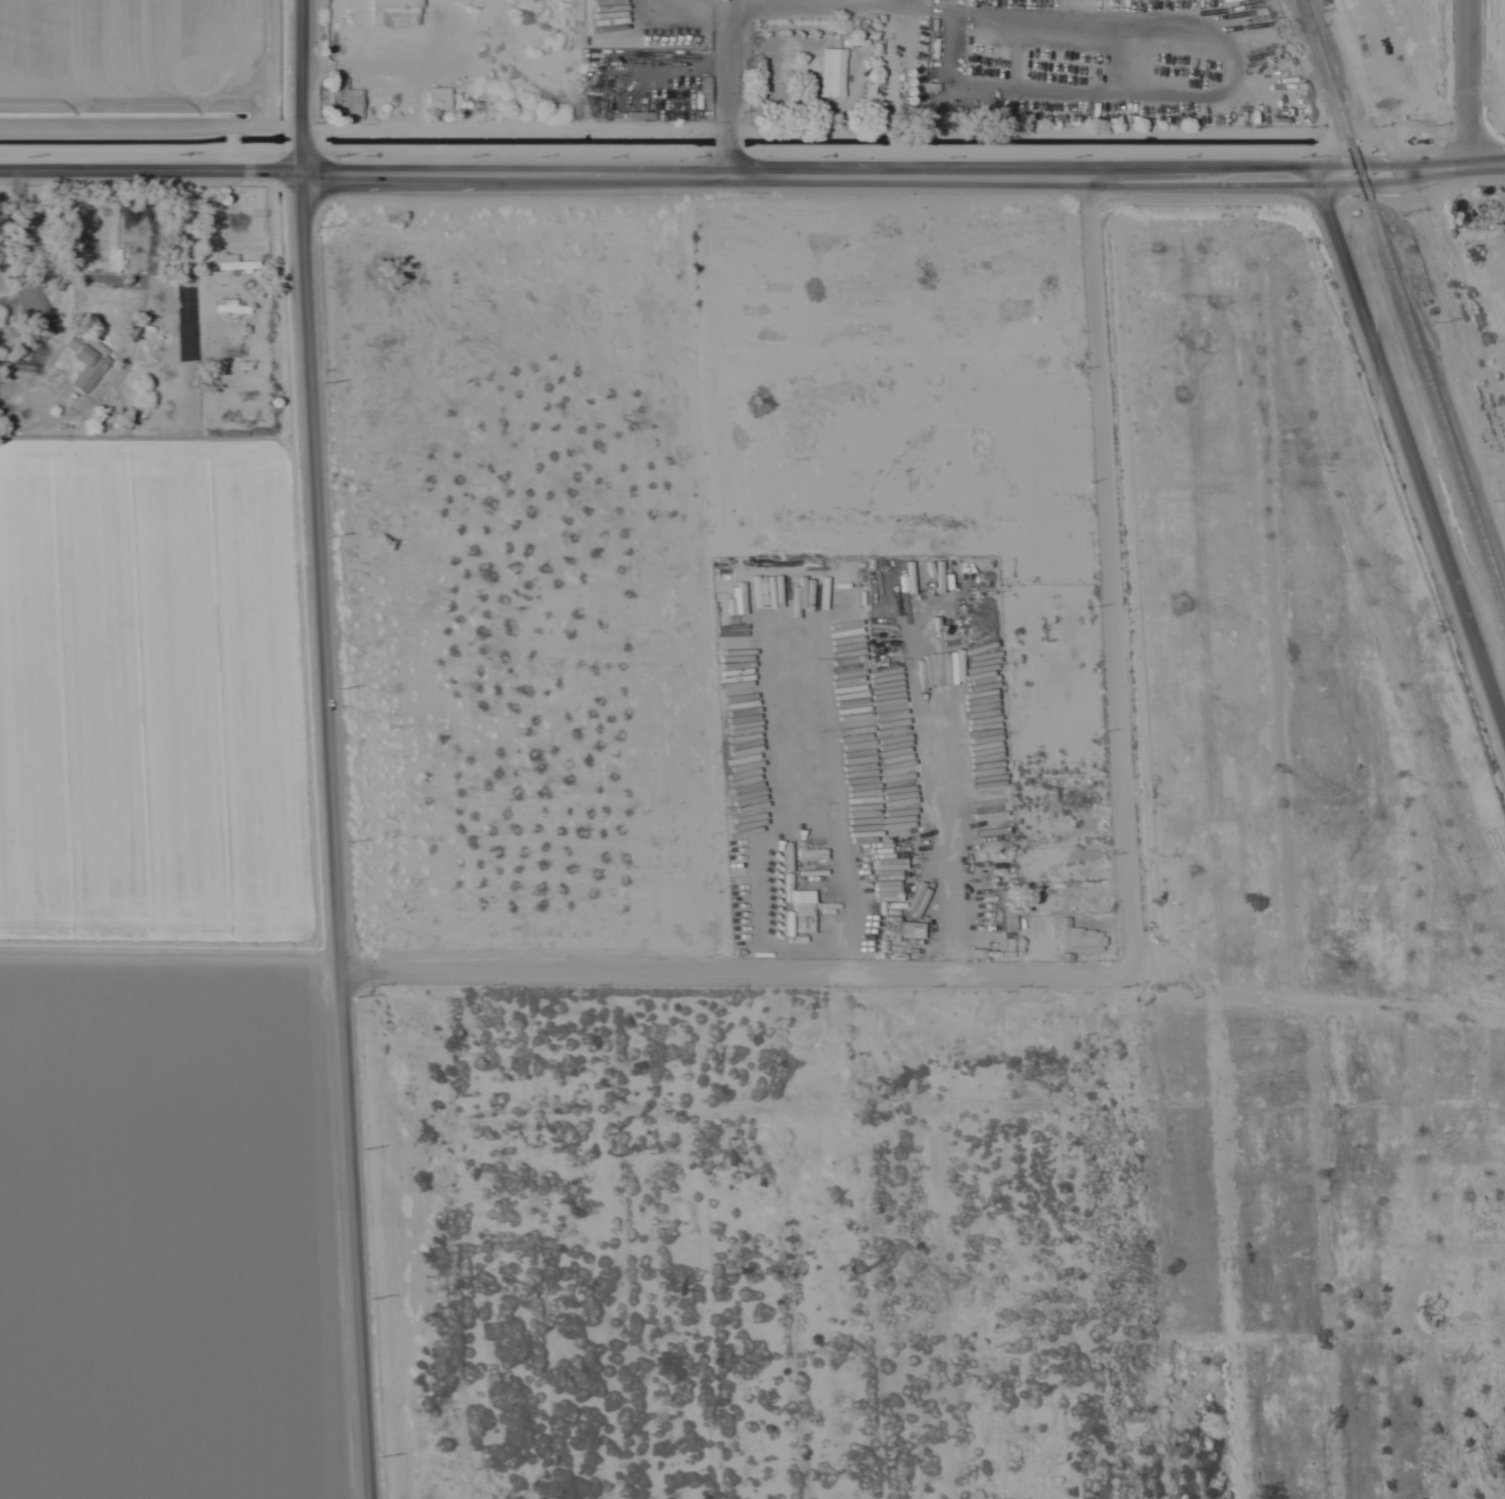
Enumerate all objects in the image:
building: (394, 13)
building: (829, 71)
road: (1468, 84)
building: (436, 99)
building: (344, 103)
road: (752, 168)
building: (232, 264)
railway: (1404, 300)
building: (84, 360)
road: (1409, 449)
railway: (1446, 458)
road: (1109, 566)
crop: (152, 687)
road: (305, 754)
building: (801, 919)
building: (1078, 940)
road: (737, 976)

